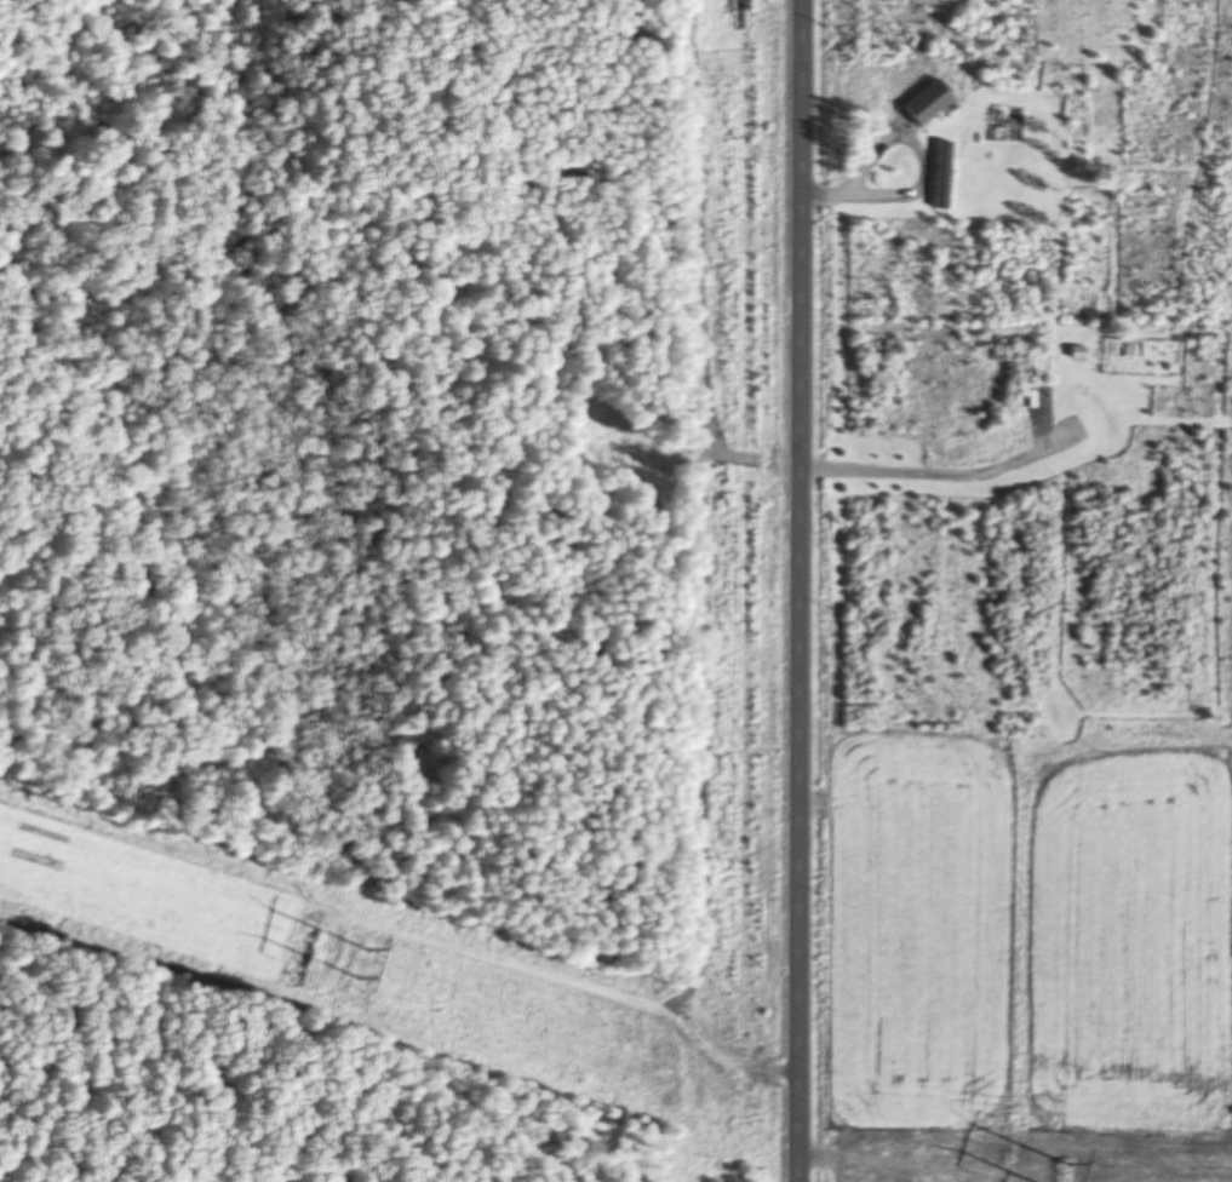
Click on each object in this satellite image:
building: (922, 99)
building: (938, 172)
road: (814, 590)
power tower: (361, 962)
power tower: (1062, 1176)

